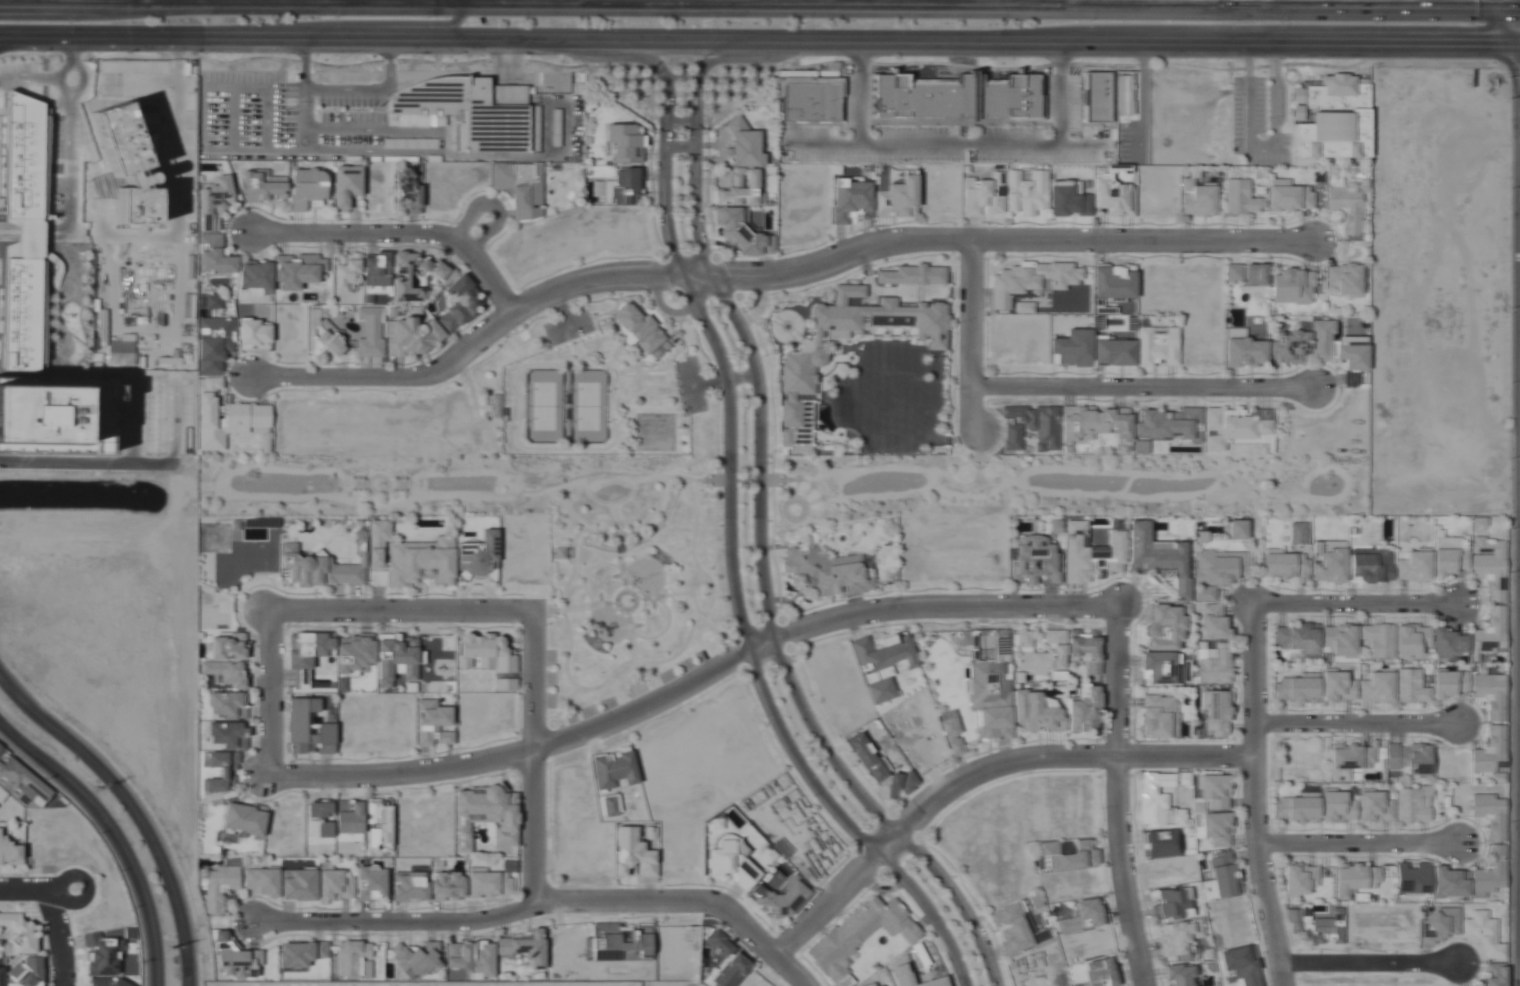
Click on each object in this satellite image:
park: (634, 584)

